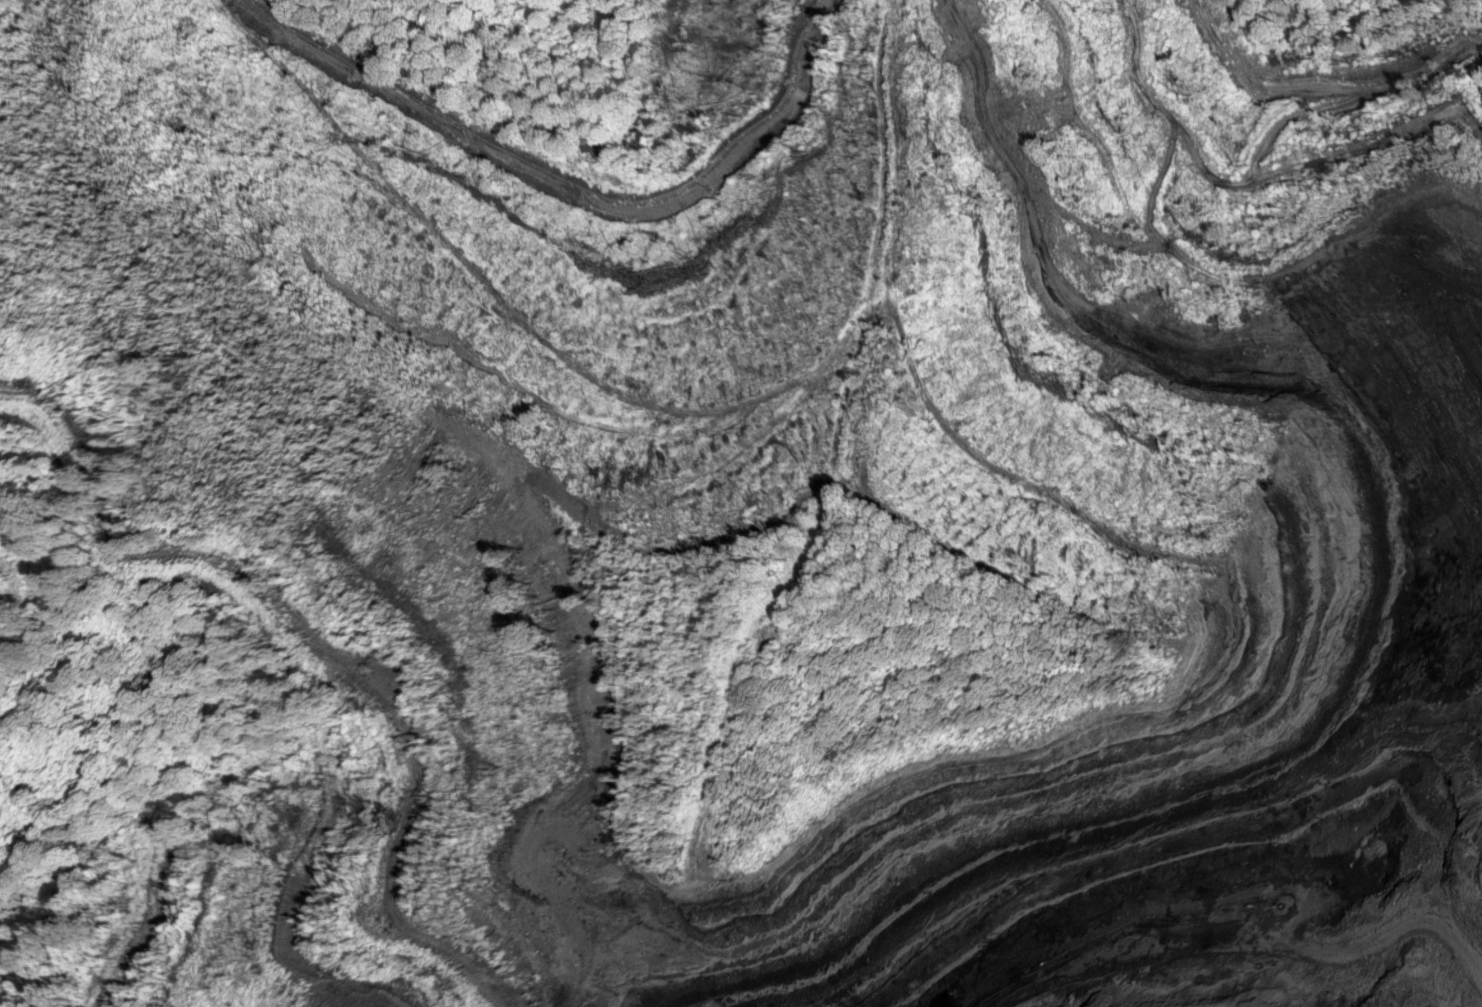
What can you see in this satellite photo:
quarry: (792, 488)

